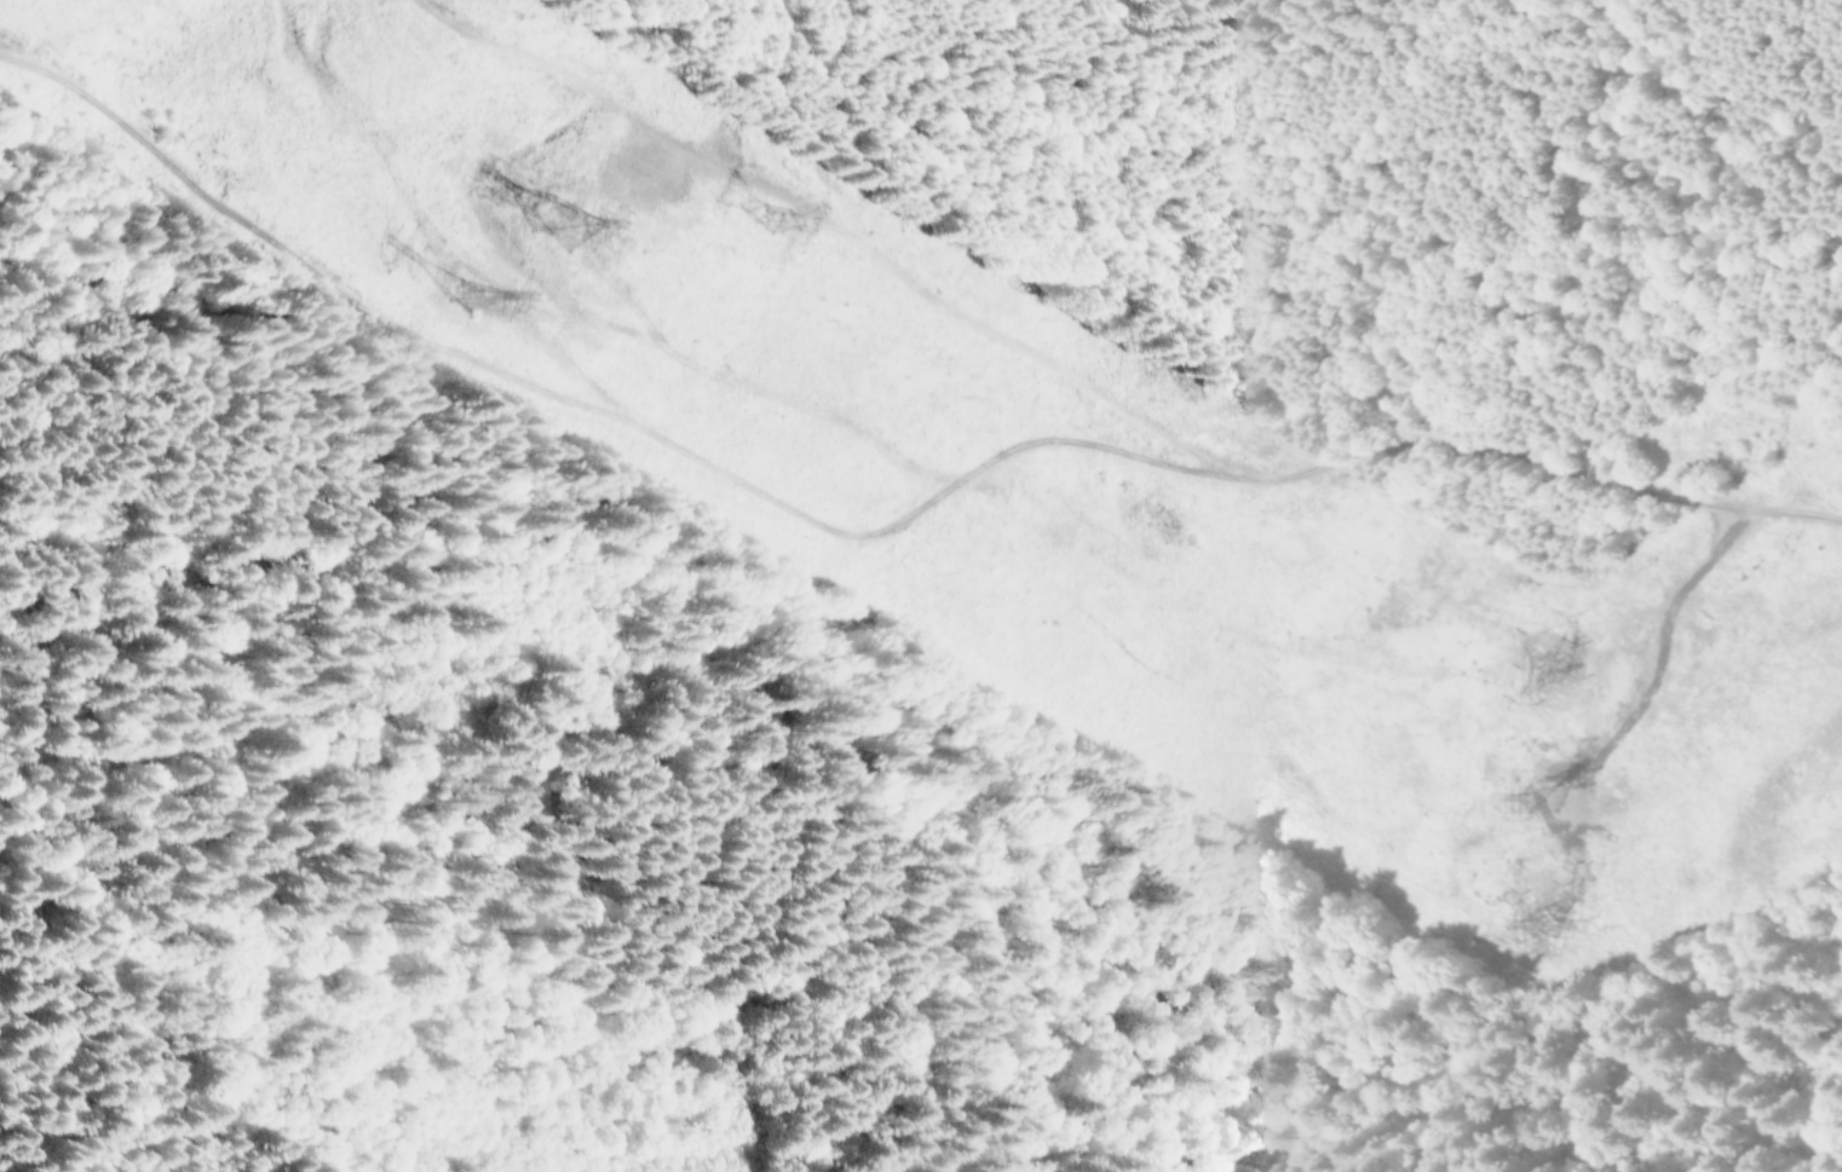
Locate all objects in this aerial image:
power tower: (496, 186)
power tower: (771, 218)
power tower: (460, 293)
road: (874, 527)
power tower: (1547, 669)
power tower: (1533, 795)
power tower: (1539, 923)

